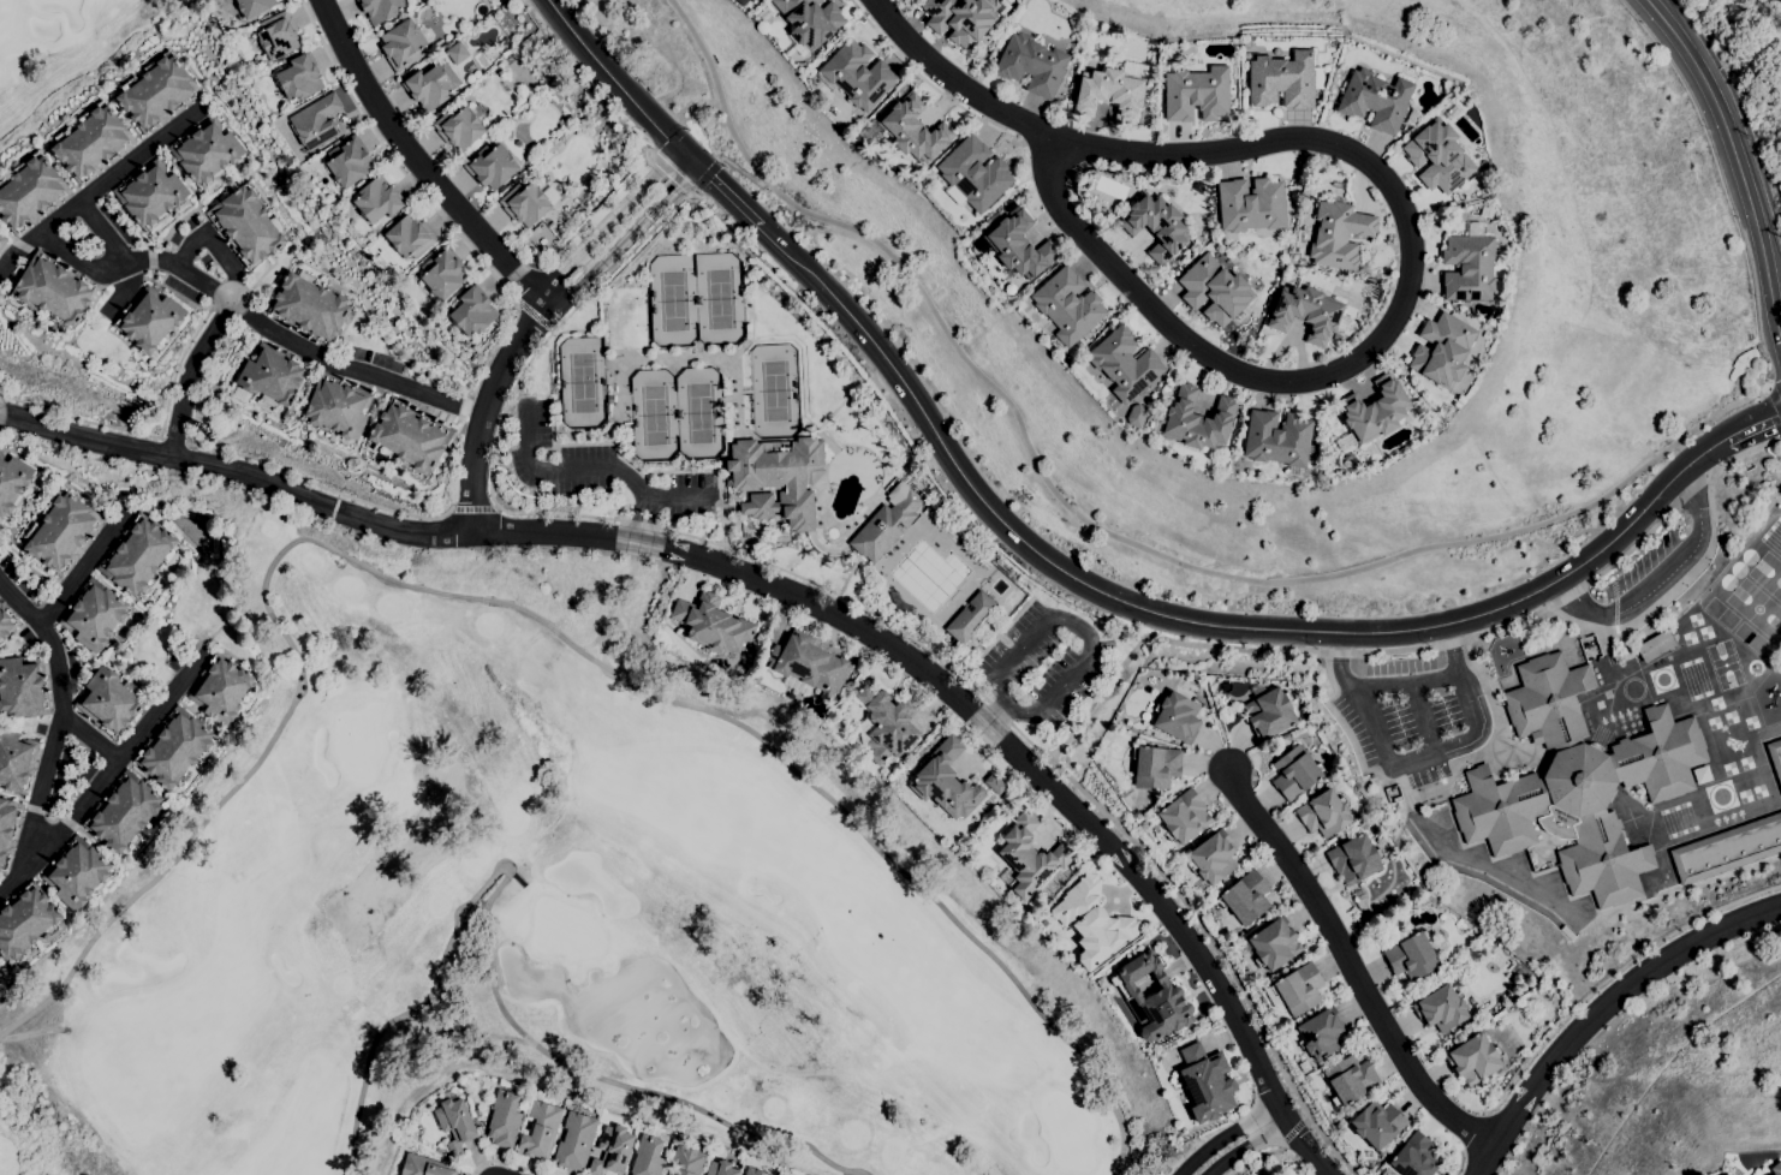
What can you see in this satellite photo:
building: (741, 1)
building: (252, 6)
building: (380, 8)
building: (959, 19)
building: (810, 22)
building: (1074, 23)
building: (278, 35)
building: (403, 44)
park: (68, 49)
building: (457, 53)
building: (481, 60)
building: (1187, 62)
building: (1032, 65)
building: (858, 74)
building: (299, 78)
building: (1283, 79)
road: (952, 80)
road: (927, 82)
road: (619, 85)
building: (431, 87)
building: (1113, 90)
building: (156, 93)
building: (1197, 94)
building: (1376, 100)
road: (1739, 113)
building: (316, 121)
building: (458, 127)
building: (909, 130)
road: (1036, 138)
building: (91, 142)
building: (205, 151)
building: (1438, 156)
road: (393, 159)
road: (1737, 159)
building: (349, 161)
road: (416, 161)
building: (490, 166)
road: (689, 173)
building: (973, 174)
road: (677, 178)
road: (100, 184)
building: (1198, 186)
building: (30, 192)
building: (150, 195)
road: (728, 195)
building: (376, 201)
building: (524, 203)
building: (997, 203)
building: (1251, 204)
building: (1009, 207)
road: (606, 221)
building: (246, 225)
building: (552, 226)
building: (1156, 226)
building: (1339, 234)
building: (410, 237)
building: (2, 240)
road: (20, 245)
road: (216, 245)
road: (615, 246)
building: (1020, 246)
building: (559, 256)
road: (150, 257)
road: (145, 260)
road: (87, 264)
building: (1469, 264)
building: (442, 273)
building: (574, 274)
building: (53, 290)
road: (123, 290)
building: (592, 290)
building: (1214, 290)
park: (695, 298)
building: (1068, 305)
building: (310, 308)
building: (472, 312)
road: (534, 314)
building: (1310, 314)
building: (150, 321)
building: (1442, 350)
road: (336, 363)
building: (1125, 363)
road: (189, 371)
road: (1333, 371)
building: (272, 375)
park: (580, 382)
park: (773, 389)
road: (1774, 395)
building: (338, 407)
road: (482, 407)
building: (1446, 408)
building: (1372, 412)
park: (677, 413)
building: (1137, 414)
road: (78, 417)
building: (1197, 419)
road: (1751, 423)
building: (410, 437)
road: (174, 440)
building: (1280, 440)
road: (579, 471)
building: (778, 478)
building: (12, 484)
road: (320, 484)
road: (1682, 485)
road: (647, 495)
road: (663, 495)
road: (473, 506)
road: (609, 517)
building: (887, 523)
building: (61, 531)
road: (1112, 533)
road: (649, 543)
building: (138, 556)
road: (202, 557)
road: (81, 567)
road: (1657, 578)
road: (1565, 589)
road: (1669, 591)
road: (520, 603)
building: (95, 615)
building: (970, 618)
road: (1187, 620)
building: (6, 621)
building: (713, 624)
road: (1449, 638)
road: (1339, 645)
building: (1655, 646)
road: (1416, 648)
road: (1078, 664)
building: (808, 666)
road: (1457, 666)
building: (22, 688)
building: (224, 691)
building: (109, 702)
building: (1548, 702)
road: (996, 712)
building: (1269, 714)
parking lot: (1413, 714)
building: (1177, 717)
road: (1424, 717)
building: (886, 724)
building: (836, 726)
road: (89, 736)
road: (1463, 745)
building: (175, 750)
building: (1660, 756)
building: (1775, 757)
building: (16, 759)
building: (1156, 767)
building: (1295, 773)
building: (946, 781)
building: (995, 783)
building: (1575, 787)
road: (34, 806)
building: (1500, 810)
road: (52, 812)
building: (124, 812)
building: (1323, 813)
building: (1184, 816)
road: (68, 822)
building: (7, 828)
road: (1423, 829)
building: (1727, 848)
building: (1171, 855)
road: (24, 857)
building: (1029, 857)
building: (1213, 857)
building: (1353, 859)
building: (1603, 860)
building: (77, 873)
road: (12, 879)
building: (1246, 897)
park: (531, 919)
building: (25, 921)
building: (1092, 921)
building: (1044, 923)
building: (1274, 943)
road: (1219, 955)
building: (1412, 956)
road: (490, 959)
road: (1348, 965)
road: (1612, 974)
building: (1100, 982)
building: (1299, 989)
road: (1614, 995)
building: (1152, 997)
building: (1441, 1008)
building: (1321, 1033)
road: (1252, 1054)
building: (1473, 1058)
building: (1304, 1067)
building: (1350, 1080)
building: (1205, 1082)
building: (477, 1113)
building: (504, 1120)
building: (454, 1122)
building: (1377, 1123)
building: (541, 1131)
road: (1295, 1133)
road: (1477, 1133)
road: (1225, 1134)
building: (576, 1141)
road: (1249, 1146)
building: (440, 1151)
building: (612, 1151)
building: (648, 1156)
building: (1416, 1156)
road: (1253, 1158)
road: (1482, 1158)
building: (687, 1161)
road: (510, 1162)
road: (1460, 1162)
building: (425, 1167)
building: (721, 1168)
building: (1776, 1168)
building: (753, 1171)

